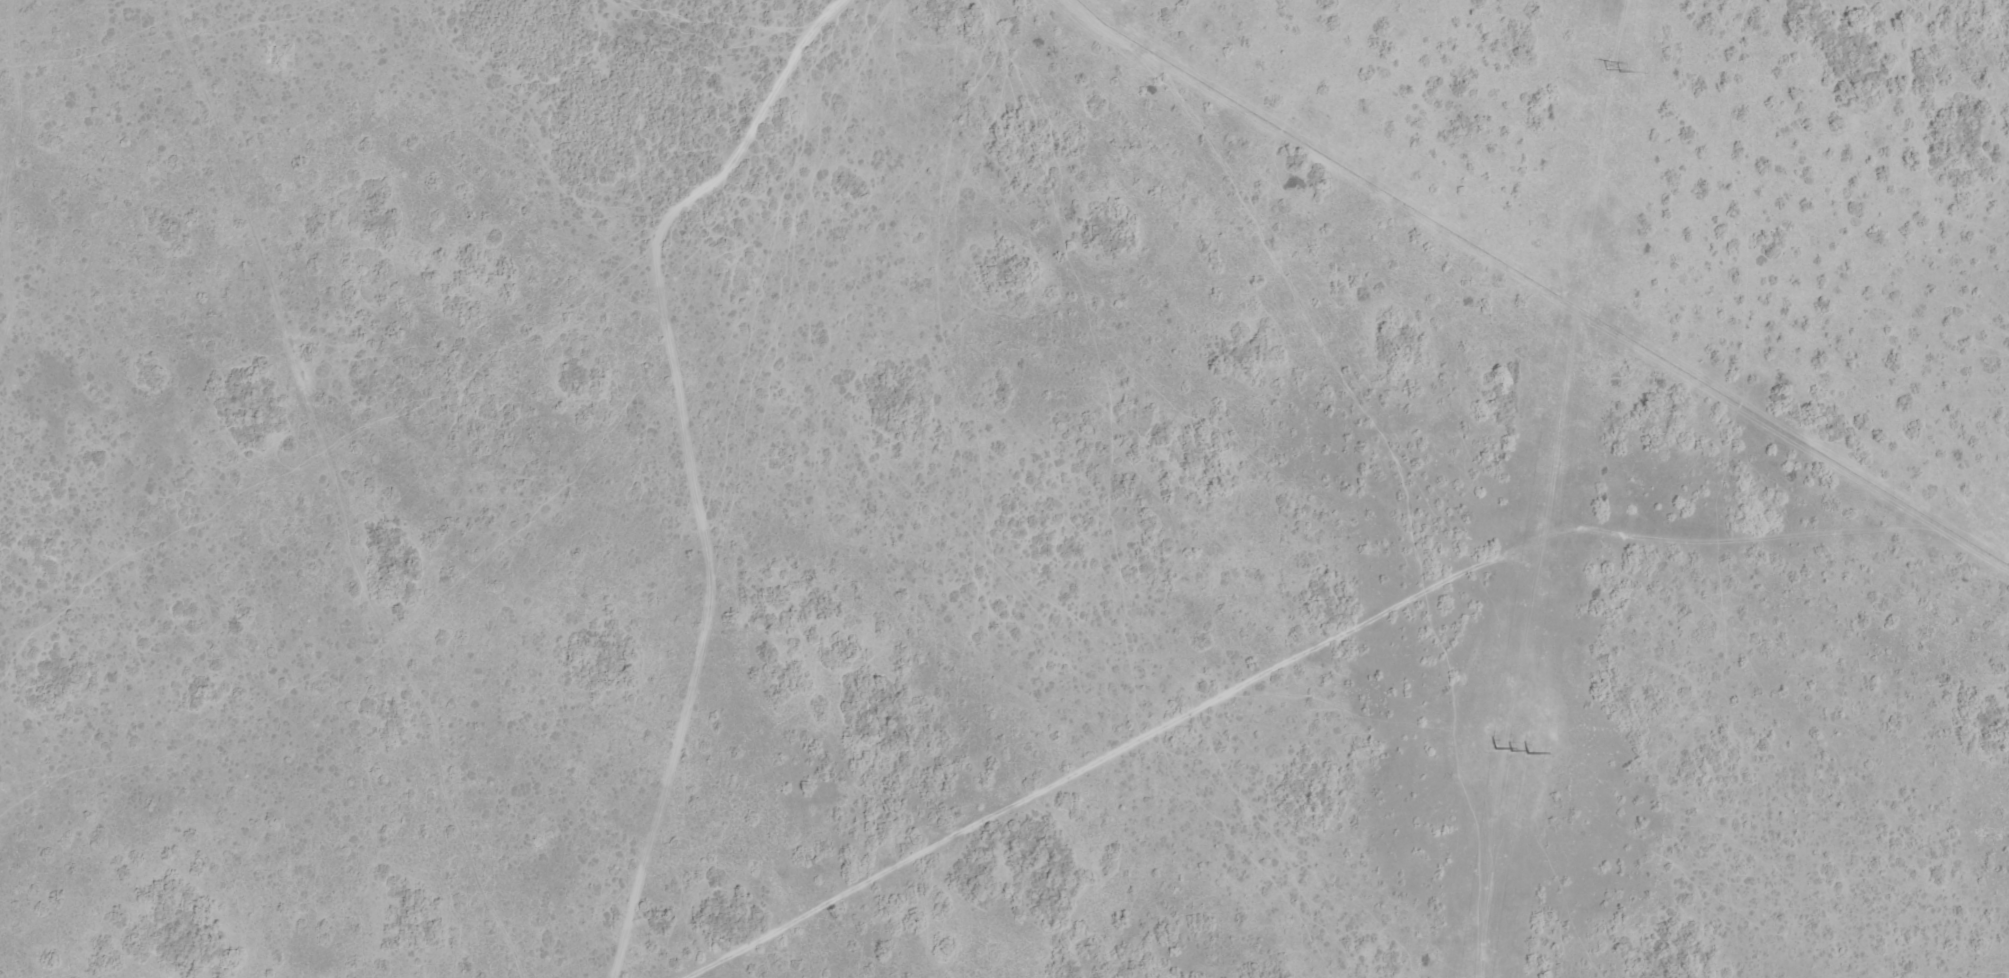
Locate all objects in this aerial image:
power tower: (1611, 70)
power tower: (1512, 741)

